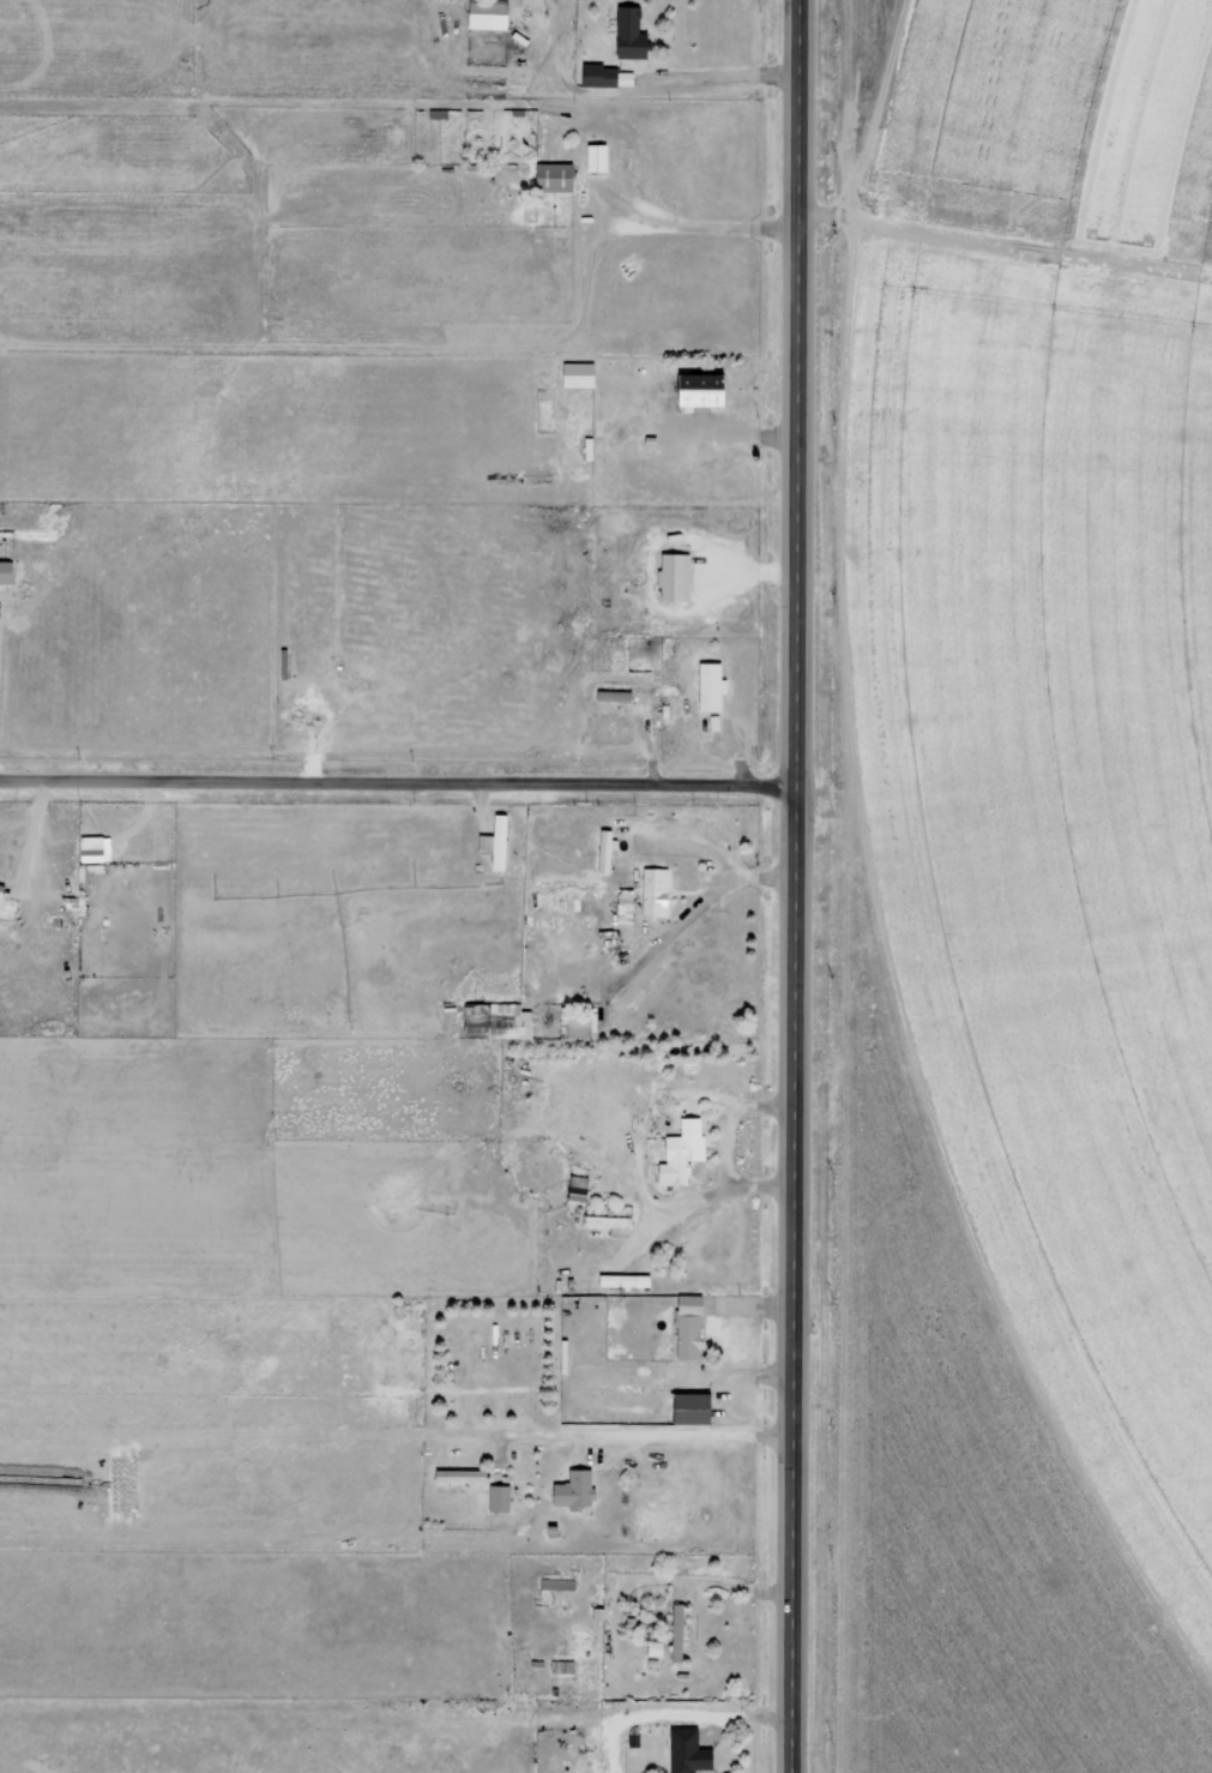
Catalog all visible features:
building: (529, 1)
building: (484, 14)
building: (626, 34)
building: (592, 158)
building: (549, 178)
building: (574, 374)
building: (693, 389)
building: (7, 570)
building: (670, 577)
building: (707, 686)
building: (614, 696)
road: (403, 779)
building: (493, 842)
building: (88, 849)
road: (804, 886)
building: (651, 891)
building: (2, 897)
building: (494, 1021)
building: (575, 1022)
building: (677, 1153)
building: (615, 1225)
building: (623, 1281)
building: (685, 1327)
building: (686, 1408)
building: (456, 1477)
building: (571, 1490)
building: (496, 1498)
building: (554, 1583)
building: (674, 1633)
building: (653, 1648)
building: (683, 1750)

